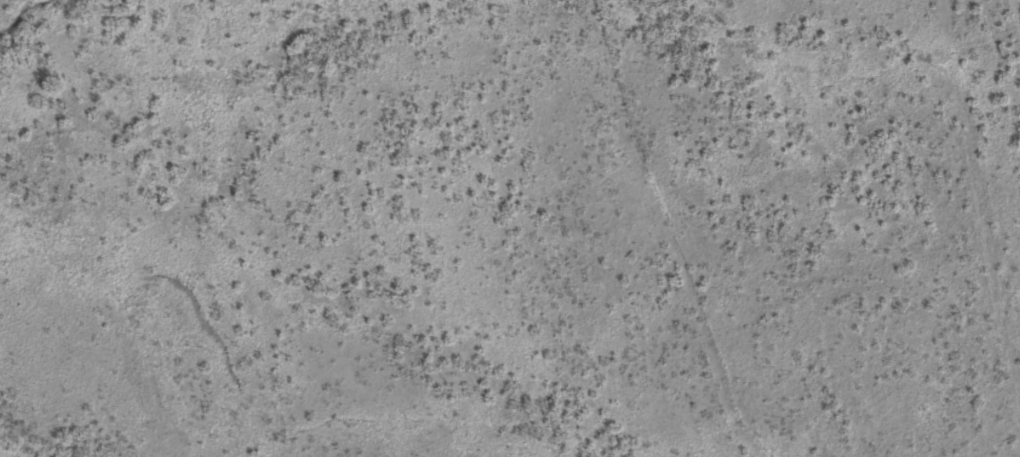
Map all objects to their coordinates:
road: (1011, 27)

